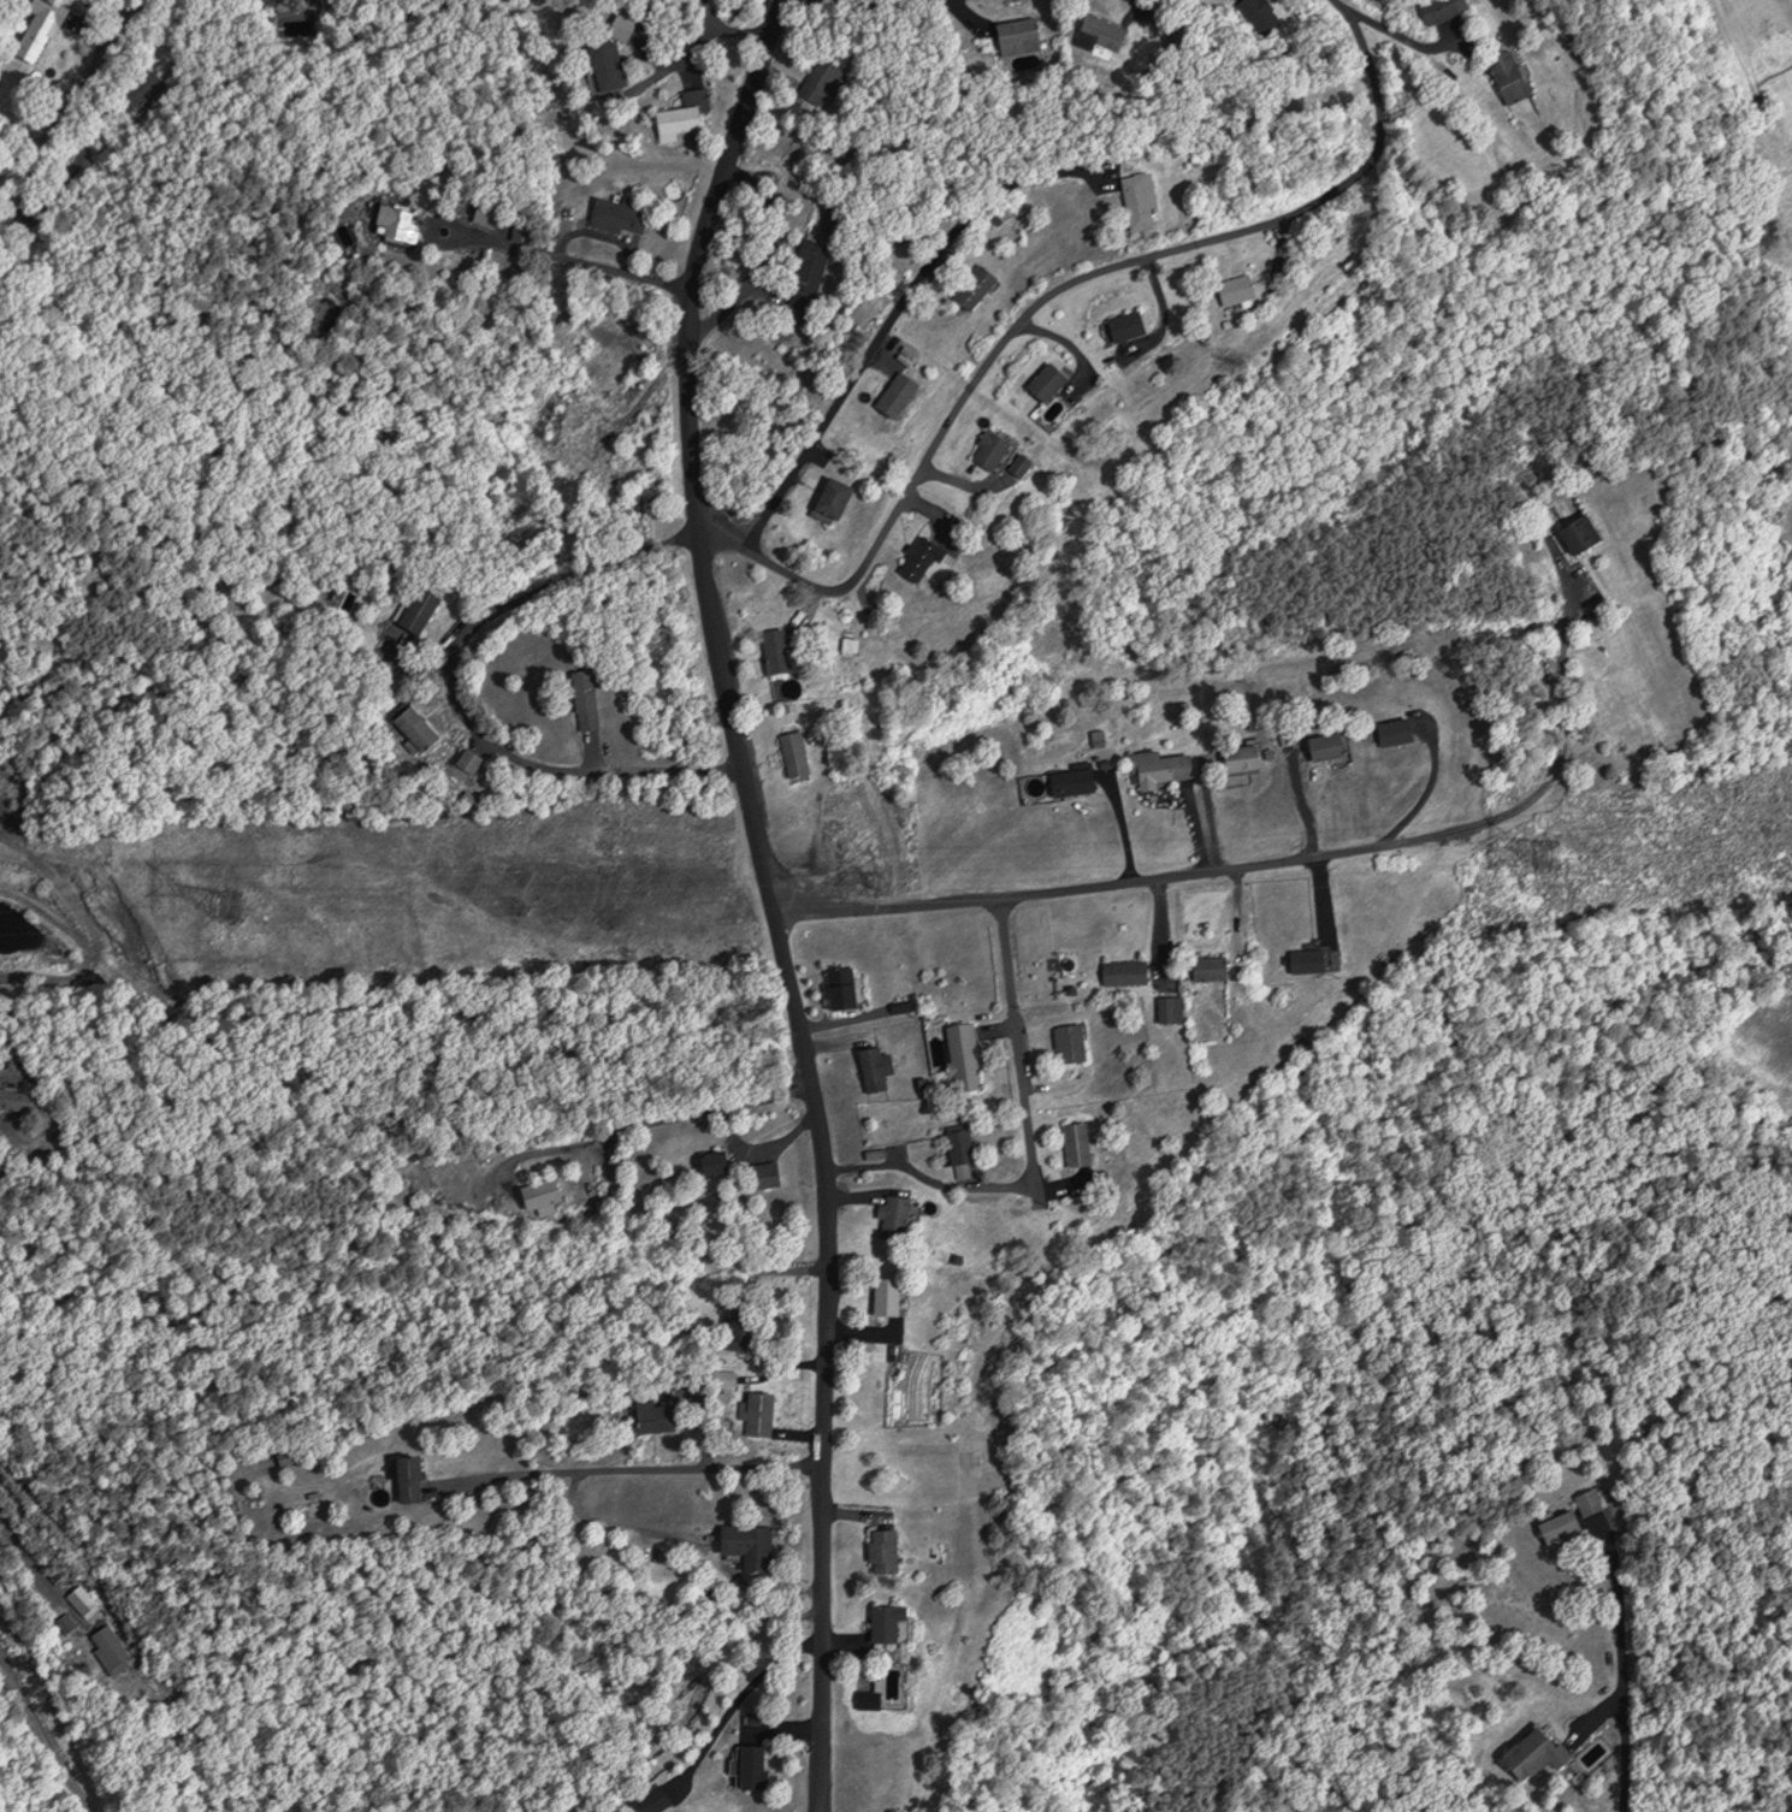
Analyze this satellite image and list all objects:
road: (859, 0)
building: (1443, 8)
building: (1258, 12)
building: (41, 28)
building: (1101, 31)
building: (1021, 35)
building: (1514, 76)
building: (820, 77)
road: (66, 96)
building: (679, 120)
building: (1145, 197)
building: (621, 213)
building: (486, 217)
building: (401, 221)
road: (574, 256)
building: (808, 277)
building: (980, 284)
road: (1049, 286)
building: (1243, 288)
road: (889, 318)
building: (1131, 322)
building: (1052, 379)
building: (903, 391)
building: (994, 446)
building: (1024, 461)
building: (632, 495)
building: (838, 497)
building: (1580, 533)
building: (924, 555)
building: (420, 608)
building: (781, 650)
road: (456, 688)
building: (589, 697)
building: (418, 727)
building: (1401, 729)
building: (1331, 745)
building: (797, 752)
building: (1243, 756)
building: (472, 758)
building: (1160, 766)
building: (1080, 780)
power tower: (1557, 855)
road: (1262, 863)
power tower: (879, 881)
road: (768, 896)
power tower: (225, 902)
building: (1312, 959)
building: (1214, 967)
building: (1128, 971)
building: (844, 987)
building: (1175, 1007)
road: (1016, 1042)
building: (1074, 1042)
building: (965, 1055)
building: (874, 1067)
building: (18, 1099)
road: (647, 1118)
building: (1081, 1143)
building: (963, 1147)
building: (716, 1161)
building: (767, 1174)
building: (544, 1195)
building: (898, 1215)
road: (676, 1249)
park: (1715, 1274)
building: (889, 1295)
building: (656, 1414)
road: (631, 1463)
building: (413, 1478)
building: (377, 1482)
building: (1589, 1502)
building: (1562, 1526)
building: (750, 1544)
building: (887, 1550)
building: (83, 1599)
building: (888, 1623)
building: (112, 1648)
road: (1622, 1668)
road: (45, 1740)
building: (1534, 1753)
building: (755, 1765)
building: (652, 1799)

